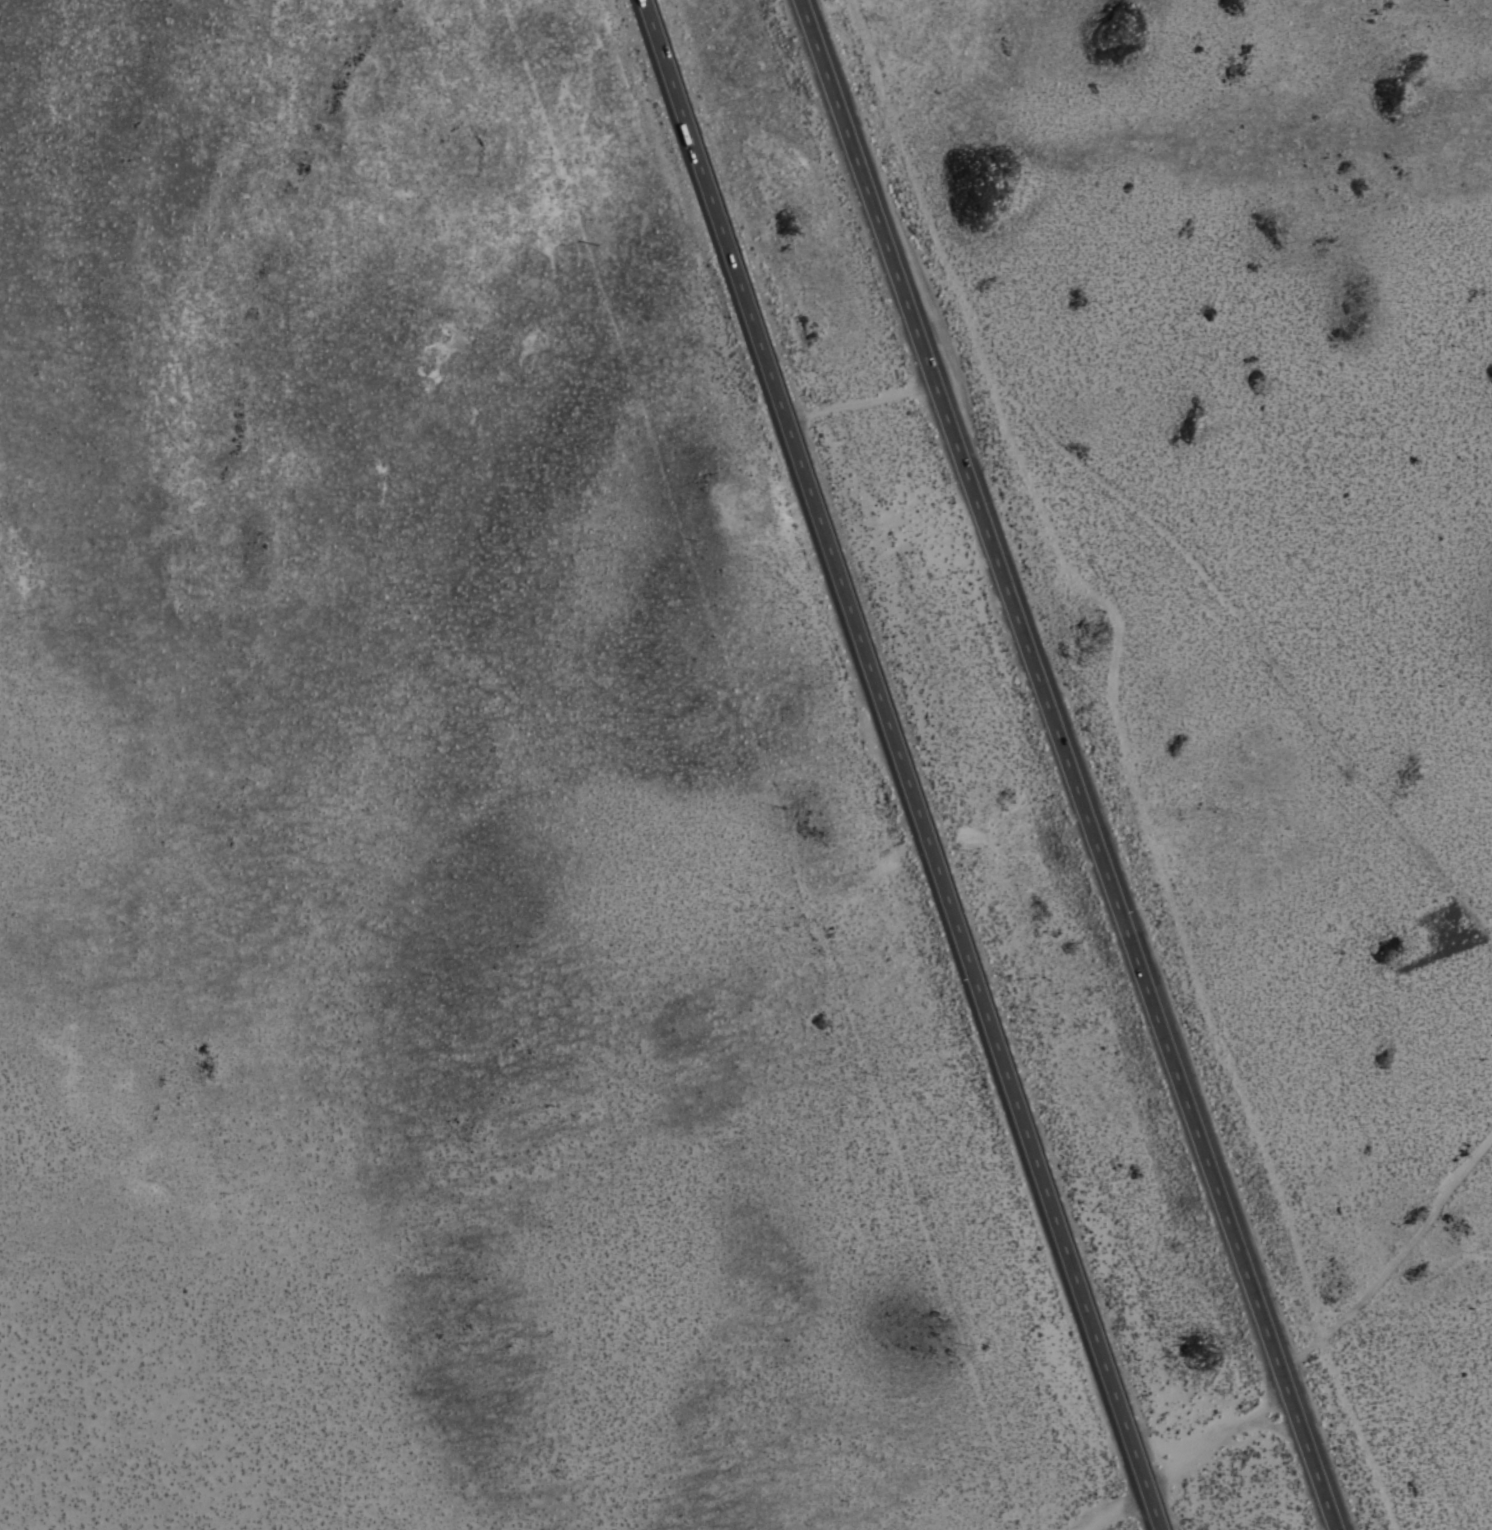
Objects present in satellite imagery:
road: (1073, 765)
road: (901, 766)
road: (1310, 1353)

